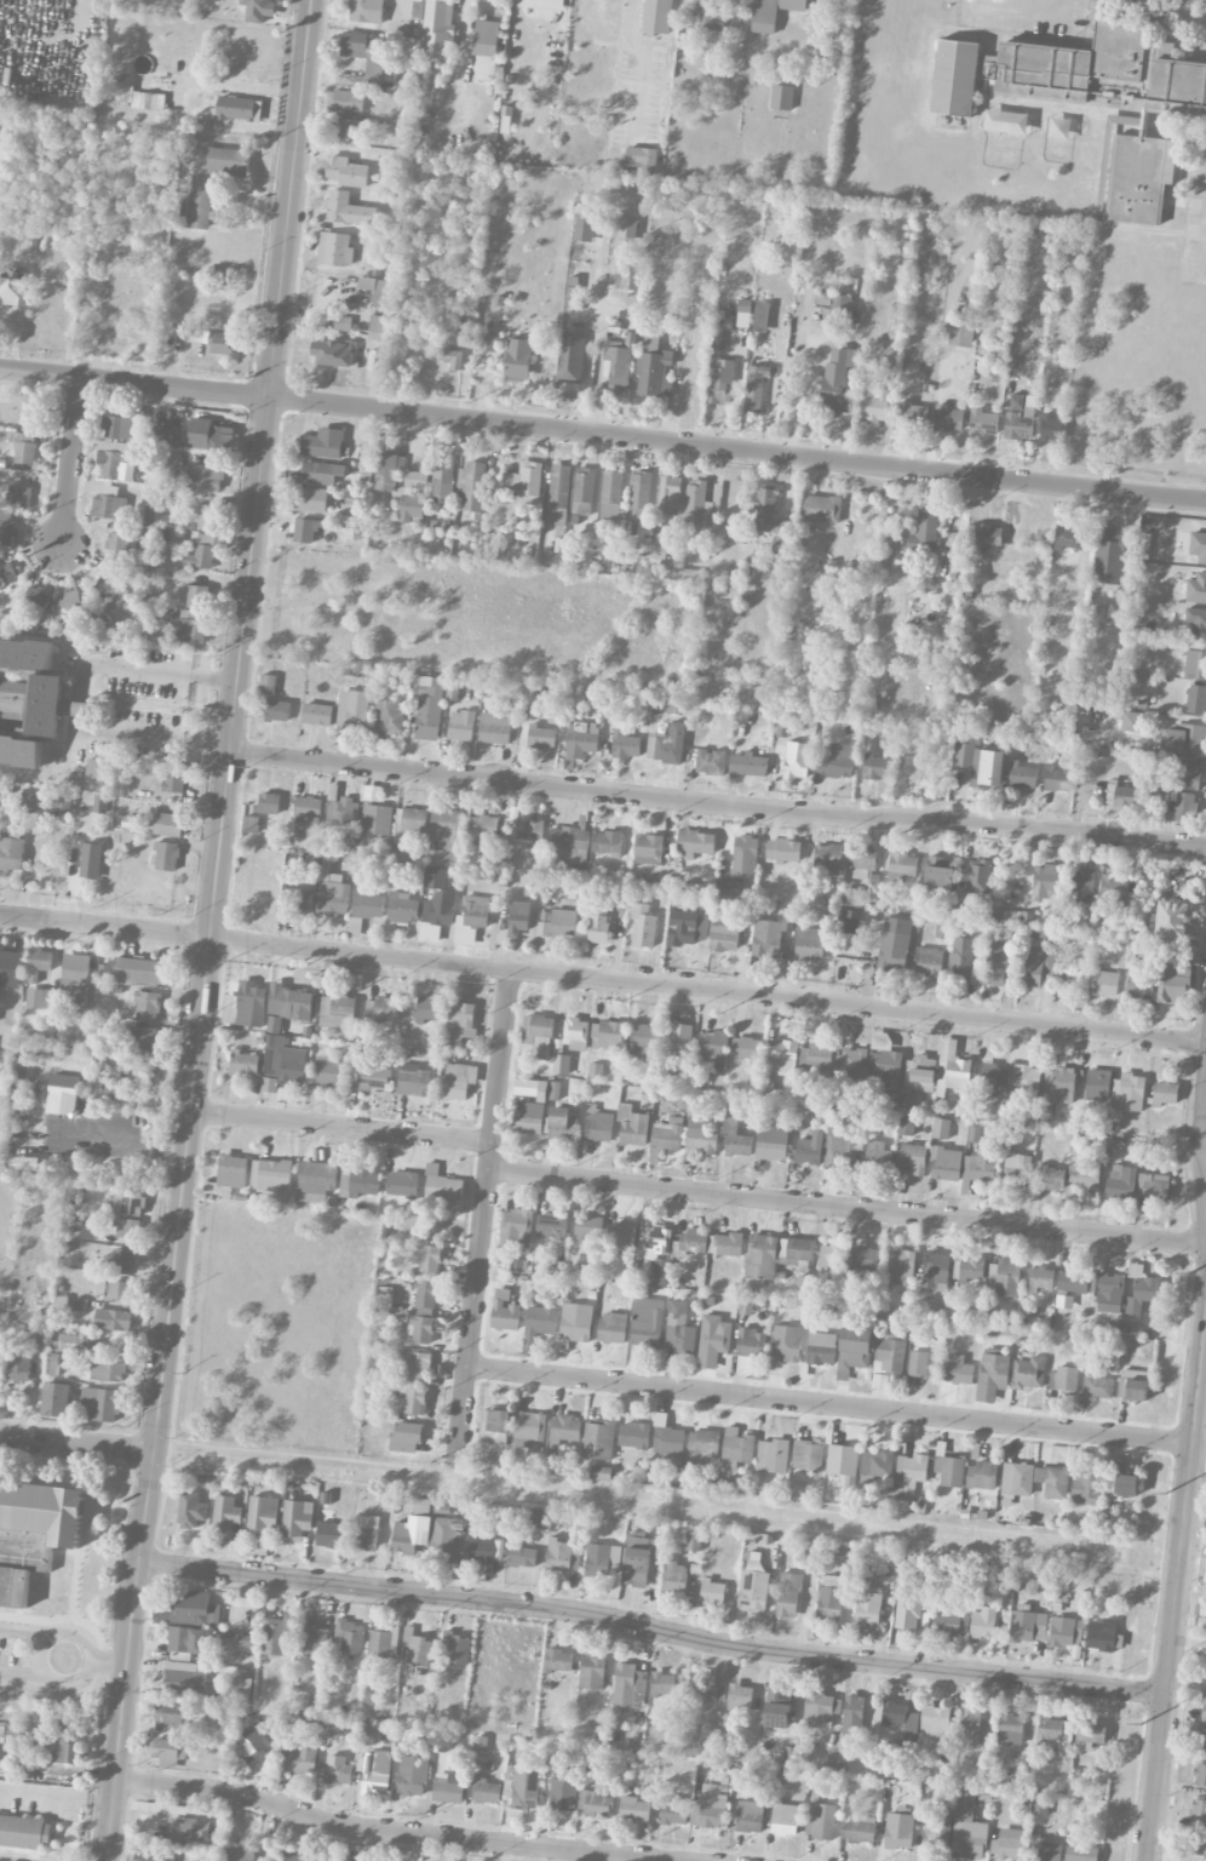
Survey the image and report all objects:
building: (712, 0)
building: (258, 10)
building: (367, 11)
building: (771, 12)
building: (657, 16)
building: (712, 16)
building: (437, 29)
building: (486, 38)
building: (366, 51)
building: (1097, 68)
building: (955, 78)
building: (349, 81)
building: (782, 97)
building: (147, 101)
building: (345, 101)
building: (239, 109)
building: (345, 128)
building: (1087, 159)
building: (641, 160)
building: (346, 172)
building: (1139, 178)
building: (212, 179)
building: (1082, 202)
building: (348, 210)
building: (585, 227)
building: (627, 227)
building: (335, 250)
building: (627, 277)
building: (12, 286)
building: (378, 291)
building: (745, 305)
building: (840, 305)
building: (760, 316)
building: (894, 322)
building: (343, 323)
building: (378, 327)
building: (465, 328)
building: (960, 334)
building: (219, 343)
building: (488, 343)
building: (333, 354)
building: (452, 359)
building: (517, 359)
building: (570, 360)
building: (620, 362)
building: (654, 368)
road: (269, 376)
building: (838, 376)
building: (720, 379)
building: (756, 388)
building: (874, 403)
building: (912, 414)
road: (932, 414)
building: (948, 419)
building: (981, 422)
building: (124, 425)
building: (1017, 426)
building: (1050, 429)
road: (603, 434)
building: (209, 435)
building: (170, 437)
building: (323, 443)
building: (24, 451)
building: (114, 463)
road: (70, 466)
building: (387, 471)
building: (321, 473)
building: (205, 476)
building: (442, 479)
building: (415, 480)
building: (523, 482)
building: (472, 486)
building: (611, 487)
building: (584, 491)
building: (558, 494)
building: (638, 496)
building: (668, 496)
building: (18, 497)
building: (310, 500)
building: (695, 503)
building: (109, 508)
building: (412, 509)
building: (821, 509)
building: (205, 516)
building: (771, 520)
building: (6, 527)
building: (306, 529)
building: (925, 531)
building: (986, 536)
building: (1068, 538)
building: (119, 546)
building: (1198, 546)
building: (201, 554)
building: (656, 555)
building: (1109, 555)
building: (7, 574)
building: (1196, 589)
building: (110, 590)
building: (197, 596)
building: (33, 601)
building: (69, 606)
building: (193, 614)
building: (1196, 623)
building: (190, 631)
building: (25, 653)
building: (1195, 665)
road: (148, 674)
road: (224, 681)
building: (266, 685)
building: (449, 689)
building: (19, 698)
building: (1196, 699)
building: (52, 706)
building: (427, 708)
building: (668, 708)
building: (276, 710)
building: (352, 710)
building: (316, 714)
building: (389, 717)
building: (1131, 722)
building: (461, 726)
building: (494, 728)
road: (140, 737)
building: (541, 737)
building: (581, 739)
building: (1184, 739)
road: (218, 743)
building: (625, 745)
building: (666, 745)
building: (21, 750)
building: (1087, 755)
building: (797, 760)
building: (838, 761)
building: (711, 762)
building: (980, 763)
building: (748, 766)
building: (877, 767)
building: (92, 771)
building: (914, 771)
building: (1022, 775)
building: (1189, 775)
building: (173, 779)
building: (1057, 779)
building: (1126, 797)
building: (28, 800)
building: (63, 801)
building: (264, 803)
road: (717, 803)
building: (308, 804)
building: (1184, 808)
building: (343, 811)
building: (375, 812)
building: (308, 823)
building: (413, 823)
building: (251, 824)
building: (168, 825)
building: (530, 831)
building: (484, 832)
building: (444, 838)
building: (570, 842)
building: (696, 842)
building: (607, 843)
building: (648, 849)
building: (11, 851)
building: (783, 851)
building: (401, 853)
building: (745, 854)
building: (166, 857)
building: (828, 858)
building: (91, 861)
building: (902, 864)
building: (938, 874)
building: (975, 876)
building: (1047, 881)
building: (1114, 883)
building: (1084, 884)
building: (730, 888)
building: (850, 897)
building: (333, 898)
building: (440, 898)
building: (297, 899)
building: (364, 910)
building: (475, 911)
building: (400, 912)
building: (1013, 917)
building: (519, 918)
building: (1172, 920)
building: (562, 924)
building: (643, 927)
building: (685, 928)
building: (943, 928)
building: (544, 929)
building: (598, 929)
building: (429, 933)
building: (724, 934)
building: (766, 938)
building: (810, 943)
building: (895, 945)
building: (961, 960)
building: (39, 961)
building: (929, 962)
building: (997, 964)
building: (1039, 967)
building: (10, 968)
building: (142, 970)
building: (104, 972)
building: (75, 978)
road: (602, 979)
building: (1137, 980)
building: (1103, 983)
building: (1175, 983)
building: (40, 998)
building: (288, 1002)
building: (248, 1004)
building: (147, 1006)
building: (381, 1008)
building: (429, 1009)
building: (337, 1012)
building: (460, 1021)
building: (274, 1024)
building: (538, 1035)
building: (608, 1036)
building: (678, 1040)
building: (144, 1041)
building: (644, 1041)
building: (713, 1048)
building: (748, 1052)
road: (500, 1057)
building: (783, 1057)
building: (884, 1061)
building: (820, 1063)
building: (851, 1063)
building: (243, 1064)
building: (561, 1064)
building: (281, 1065)
building: (952, 1069)
building: (329, 1071)
building: (921, 1073)
building: (373, 1077)
building: (413, 1080)
building: (992, 1080)
building: (456, 1081)
building: (1022, 1082)
building: (1097, 1086)
building: (63, 1087)
park: (2, 1088)
building: (99, 1088)
building: (1057, 1089)
building: (1129, 1092)
building: (1165, 1094)
building: (139, 1095)
road: (190, 1103)
road: (1204, 1104)
building: (139, 1105)
building: (529, 1118)
building: (562, 1124)
building: (906, 1126)
road: (340, 1127)
building: (598, 1127)
building: (632, 1127)
building: (940, 1128)
road: (115, 1132)
road: (1201, 1132)
building: (974, 1134)
building: (666, 1136)
building: (700, 1138)
building: (736, 1139)
building: (771, 1141)
building: (840, 1146)
building: (810, 1150)
road: (489, 1156)
building: (879, 1156)
building: (913, 1158)
building: (947, 1164)
building: (980, 1167)
building: (1018, 1169)
building: (231, 1172)
building: (270, 1175)
building: (1087, 1175)
building: (1051, 1178)
building: (316, 1181)
building: (1121, 1181)
building: (358, 1183)
building: (402, 1184)
building: (1153, 1187)
building: (442, 1190)
building: (128, 1204)
road: (846, 1207)
building: (551, 1225)
building: (516, 1227)
building: (128, 1229)
building: (588, 1229)
building: (622, 1233)
building: (691, 1243)
building: (729, 1244)
building: (655, 1247)
building: (794, 1250)
building: (762, 1256)
building: (124, 1259)
building: (429, 1259)
building: (832, 1259)
building: (865, 1259)
building: (901, 1267)
power tower: (1190, 1267)
building: (971, 1269)
building: (936, 1271)
building: (1003, 1278)
building: (1040, 1278)
building: (1073, 1282)
building: (115, 1289)
building: (1108, 1292)
building: (1142, 1295)
building: (426, 1296)
building: (384, 1298)
building: (1063, 1301)
building: (504, 1312)
road: (471, 1313)
building: (113, 1319)
building: (541, 1319)
building: (576, 1322)
building: (647, 1323)
building: (613, 1328)
building: (421, 1329)
building: (679, 1329)
building: (713, 1340)
building: (40, 1344)
building: (79, 1344)
building: (752, 1344)
building: (785, 1344)
building: (821, 1348)
building: (854, 1350)
building: (890, 1355)
building: (923, 1364)
building: (418, 1365)
building: (17, 1368)
building: (108, 1370)
building: (958, 1370)
building: (1029, 1373)
building: (992, 1374)
building: (1063, 1379)
building: (1097, 1385)
building: (1132, 1390)
building: (54, 1399)
building: (414, 1401)
building: (100, 1403)
road: (829, 1404)
building: (496, 1425)
building: (529, 1426)
building: (565, 1430)
building: (634, 1436)
building: (406, 1437)
building: (598, 1441)
building: (667, 1442)
road: (76, 1444)
building: (702, 1445)
building: (737, 1445)
building: (773, 1456)
building: (808, 1456)
building: (843, 1460)
building: (878, 1464)
road: (1199, 1464)
building: (949, 1471)
building: (601, 1473)
building: (909, 1476)
building: (981, 1476)
building: (1016, 1482)
building: (1052, 1482)
building: (1121, 1485)
building: (1086, 1488)
power tower: (1168, 1489)
road: (666, 1506)
building: (190, 1510)
building: (225, 1513)
building: (260, 1516)
building: (297, 1518)
building: (538, 1518)
building: (39, 1521)
building: (366, 1531)
building: (410, 1534)
building: (329, 1535)
building: (449, 1539)
building: (693, 1541)
building: (484, 1548)
building: (522, 1554)
building: (562, 1556)
building: (603, 1561)
building: (637, 1561)
building: (674, 1577)
building: (903, 1581)
building: (753, 1584)
building: (15, 1586)
building: (712, 1592)
road: (1177, 1592)
building: (788, 1594)
building: (829, 1603)
building: (868, 1603)
building: (194, 1607)
building: (1202, 1610)
building: (907, 1613)
building: (952, 1622)
building: (983, 1624)
building: (1028, 1626)
road: (651, 1627)
building: (1066, 1632)
building: (1102, 1634)
building: (277, 1636)
building: (350, 1636)
building: (314, 1640)
building: (179, 1642)
building: (381, 1645)
building: (417, 1649)
road: (34, 1650)
building: (453, 1651)
road: (127, 1656)
road: (88, 1659)
road: (108, 1660)
building: (558, 1660)
building: (592, 1672)
building: (1205, 1676)
building: (184, 1679)
building: (662, 1684)
building: (628, 1687)
building: (240, 1689)
building: (707, 1693)
building: (740, 1696)
building: (298, 1700)
building: (777, 1707)
building: (1202, 1707)
building: (820, 1710)
building: (852, 1714)
building: (900, 1716)
building: (170, 1717)
power tower: (1143, 1717)
building: (300, 1720)
building: (935, 1723)
building: (969, 1728)
building: (1010, 1728)
building: (329, 1729)
building: (11, 1731)
building: (1055, 1734)
building: (1090, 1735)
building: (1201, 1743)
building: (258, 1746)
building: (62, 1751)
building: (168, 1752)
building: (788, 1756)
building: (303, 1757)
building: (337, 1770)
building: (374, 1773)
building: (412, 1775)
building: (1200, 1775)
building: (781, 1776)
building: (521, 1788)
building: (447, 1791)
building: (487, 1792)
building: (562, 1792)
road: (56, 1793)
building: (593, 1803)
building: (1039, 1806)
building: (708, 1808)
building: (633, 1809)
building: (674, 1810)
building: (1199, 1814)
building: (750, 1816)
building: (786, 1820)
building: (821, 1821)
building: (967, 1828)
building: (188, 1829)
building: (898, 1829)
building: (937, 1829)
road: (383, 1831)
building: (857, 1831)
building: (24, 1832)
building: (1009, 1844)
building: (1195, 1846)
building: (1046, 1850)
building: (237, 1854)
building: (1081, 1854)
building: (154, 1855)
building: (292, 1857)

